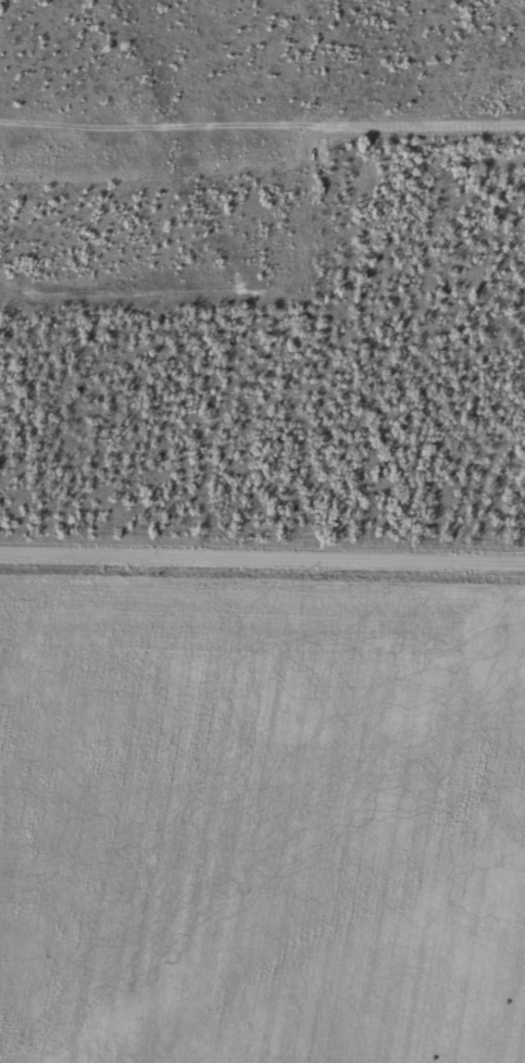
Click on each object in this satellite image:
road: (262, 565)

